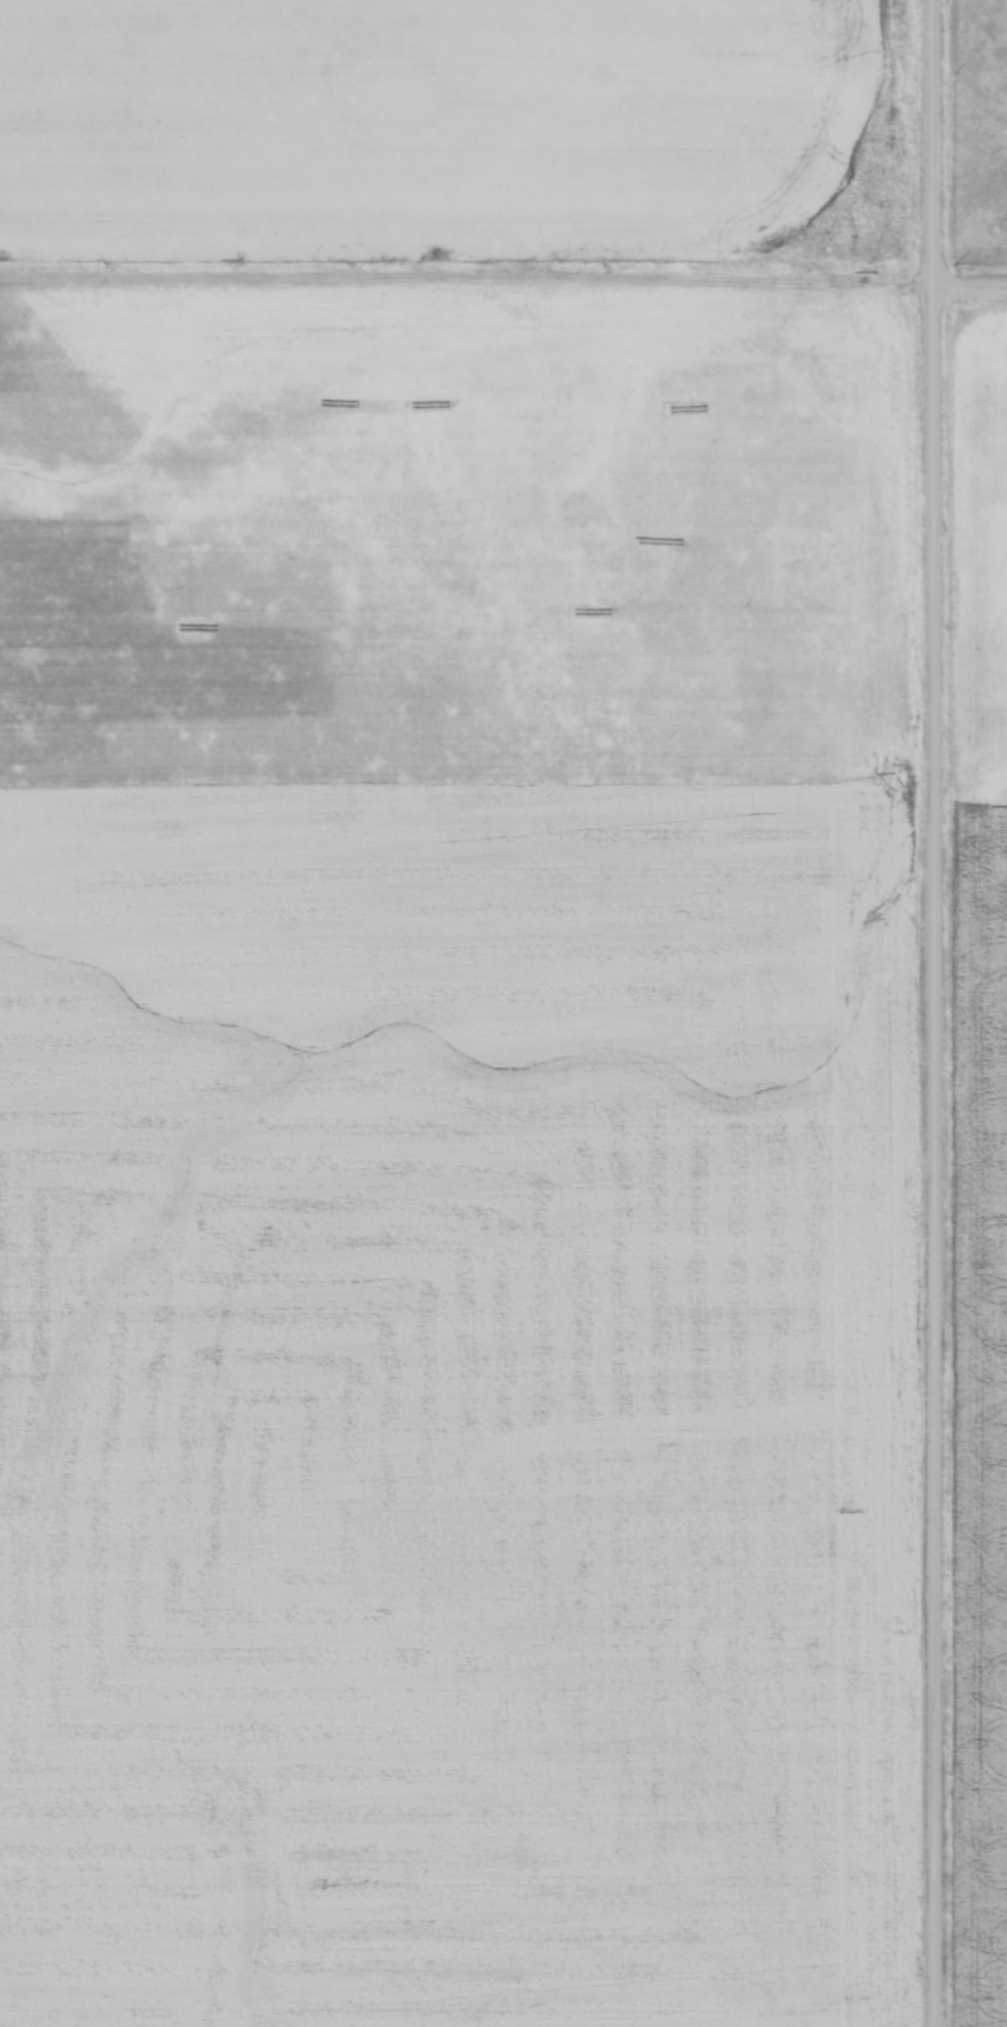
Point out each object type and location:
road: (969, 295)
road: (466, 299)
building: (407, 406)
building: (687, 406)
road: (933, 1013)

